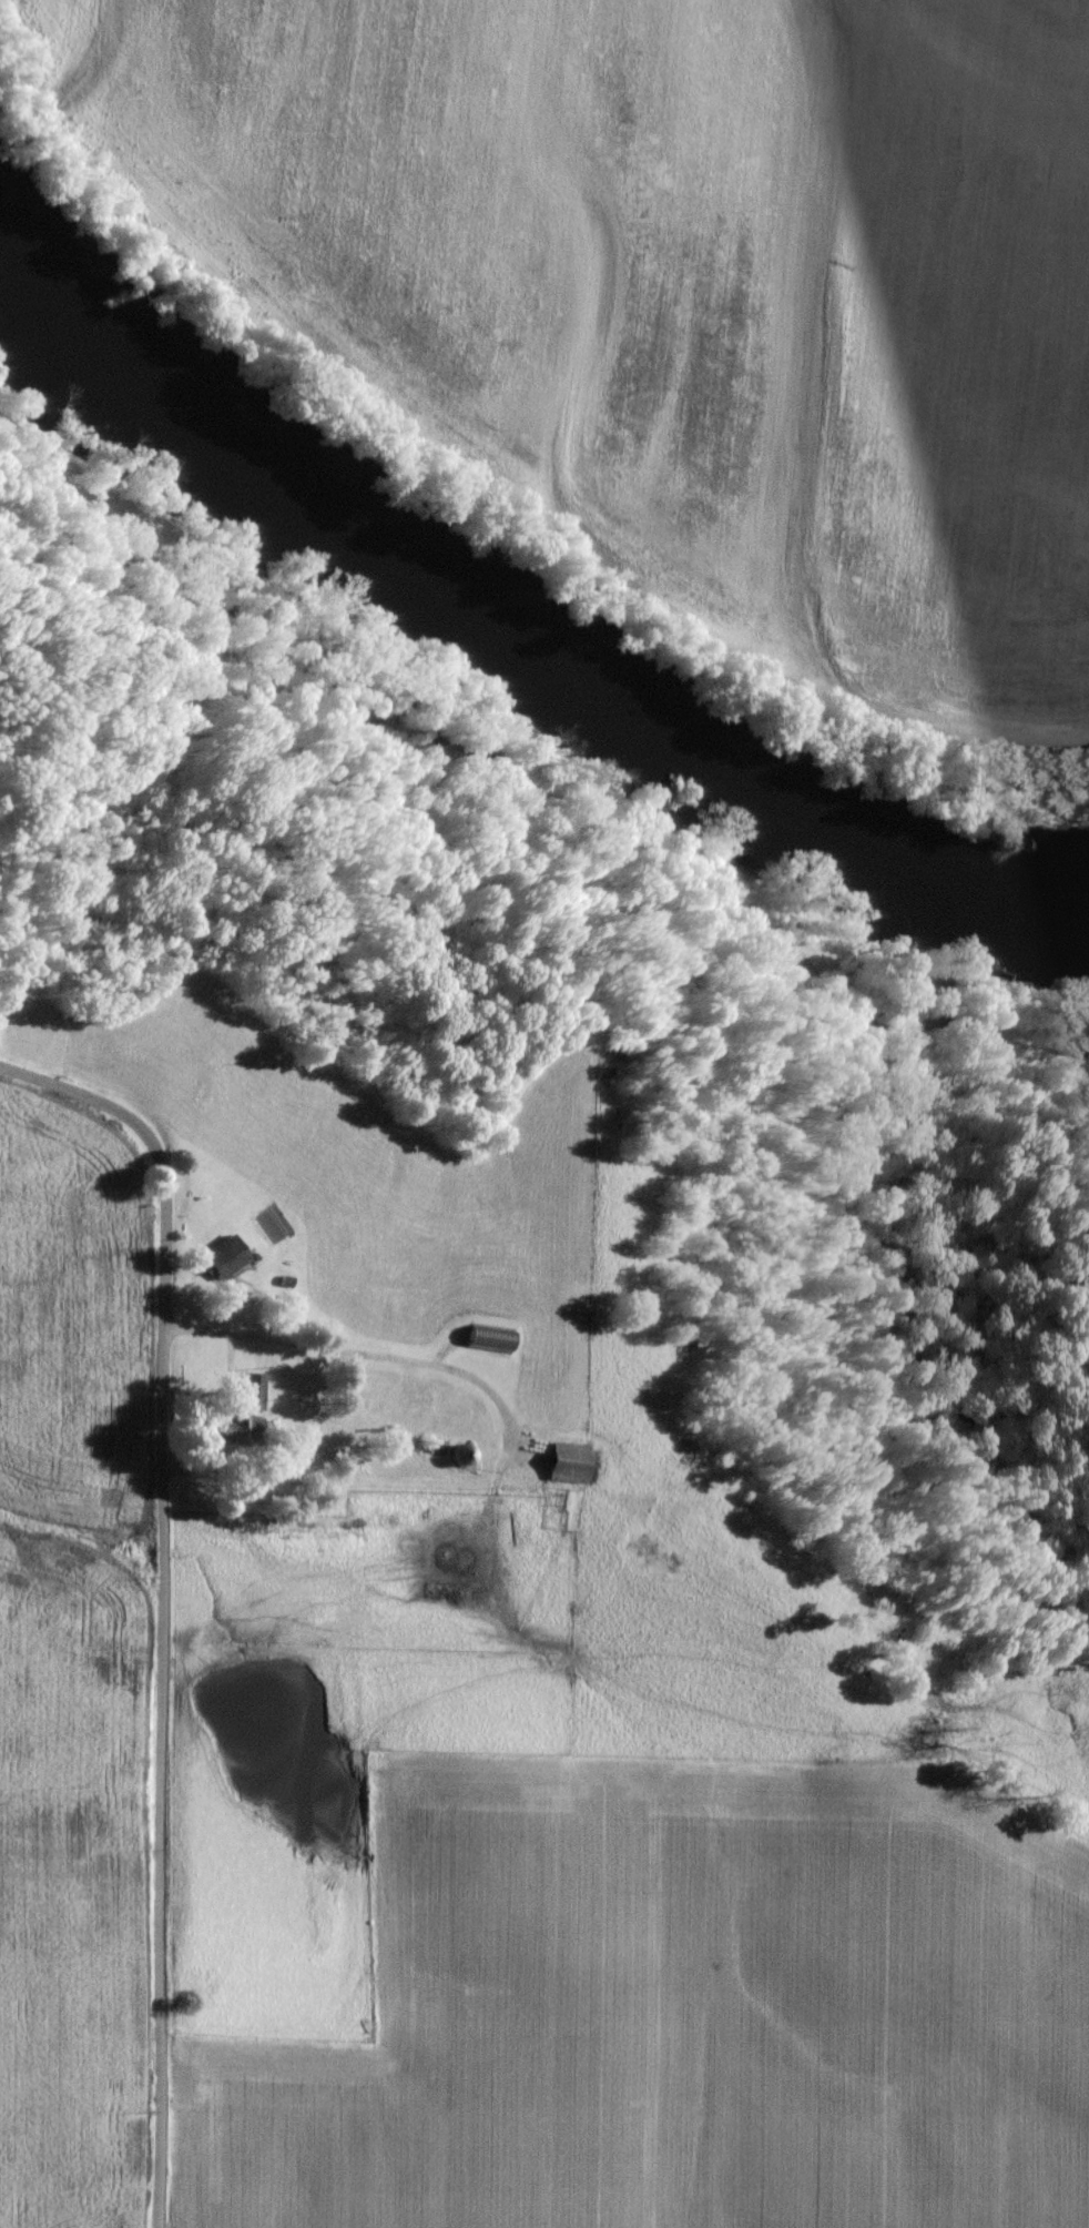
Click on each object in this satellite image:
river: (527, 639)
road: (454, 759)
building: (216, 1256)
building: (232, 1289)
building: (482, 1336)
building: (248, 1390)
building: (406, 1395)
building: (230, 1428)
building: (454, 1451)
building: (564, 1460)
road: (186, 1591)

